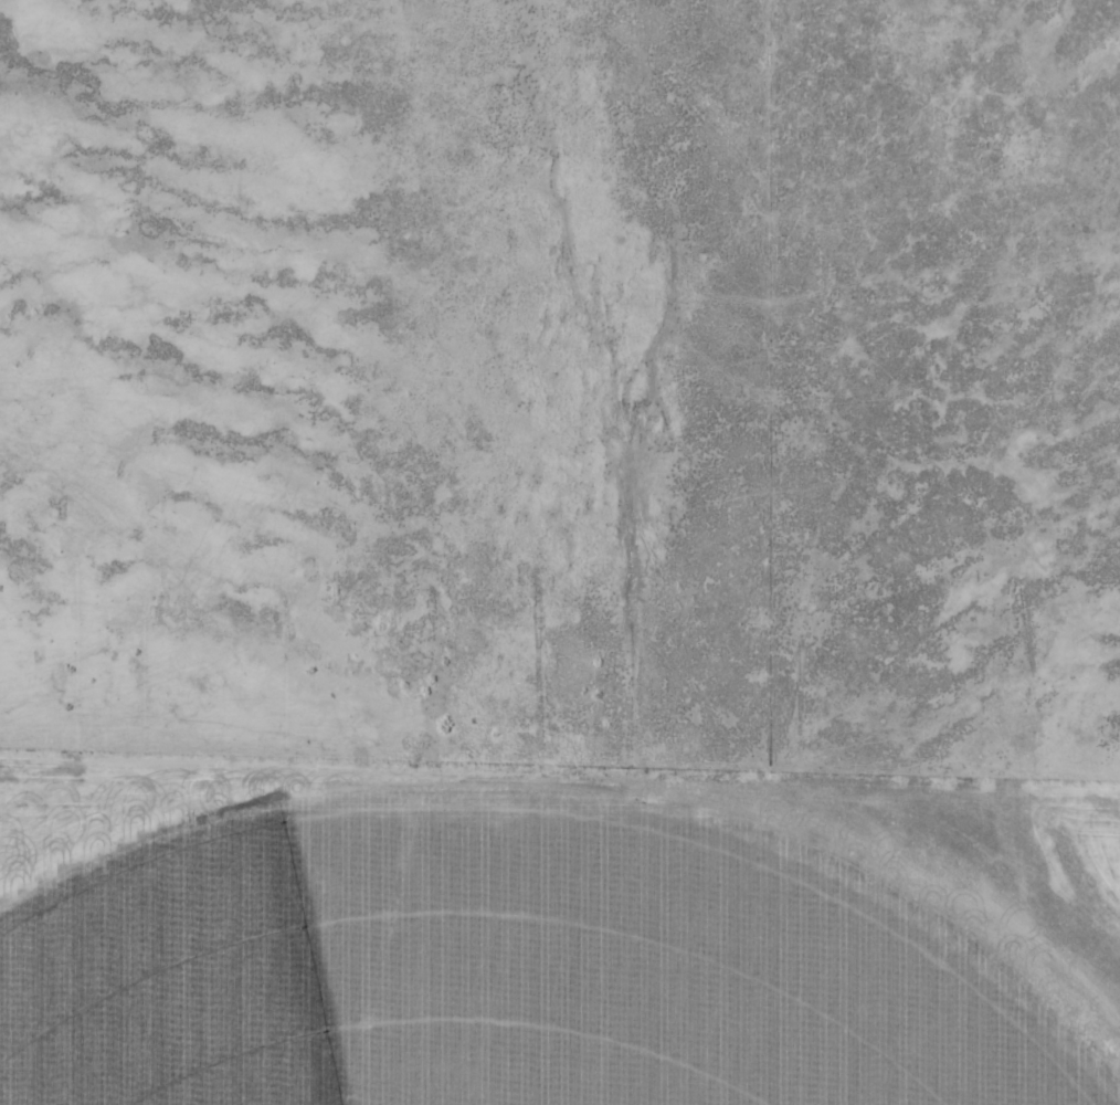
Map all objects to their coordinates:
crop: (497, 968)

